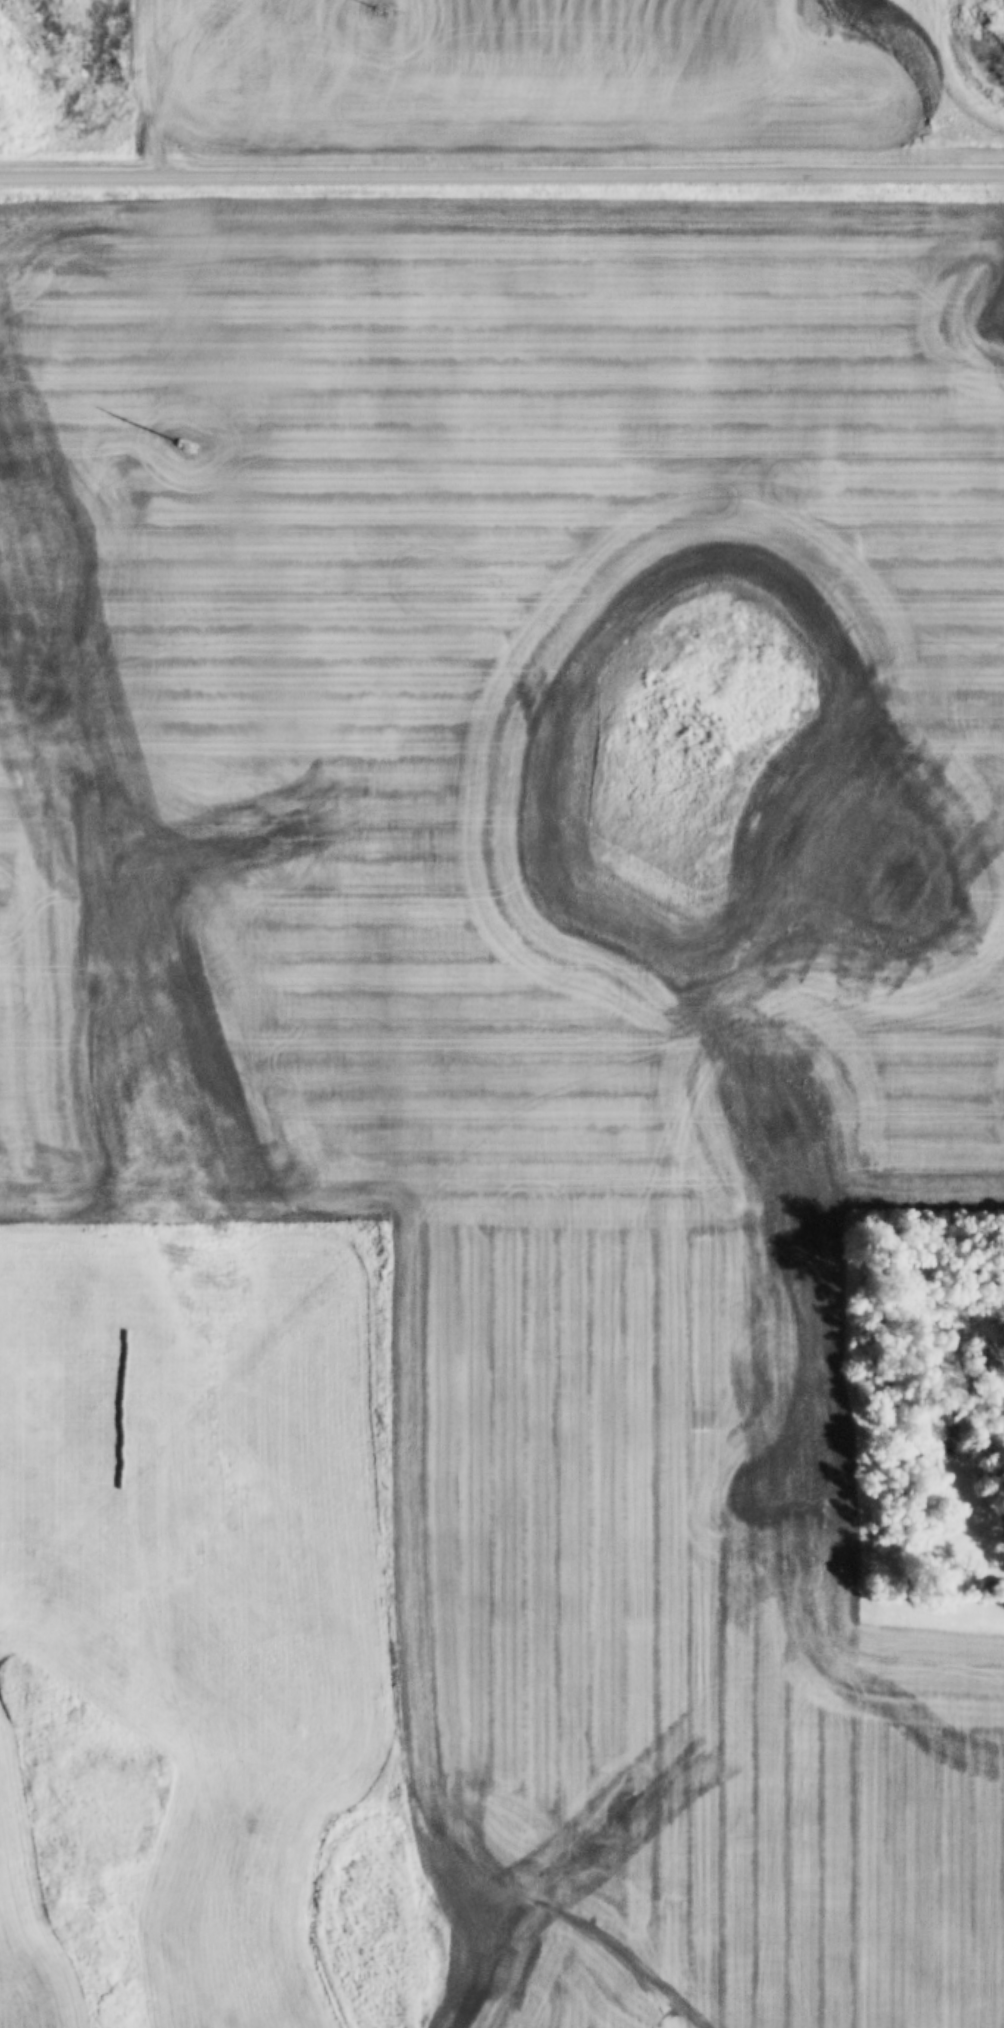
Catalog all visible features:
power tower: (380, 10)
road: (153, 86)
road: (501, 171)
power tower: (186, 441)
building: (989, 1585)
building: (1002, 1586)

